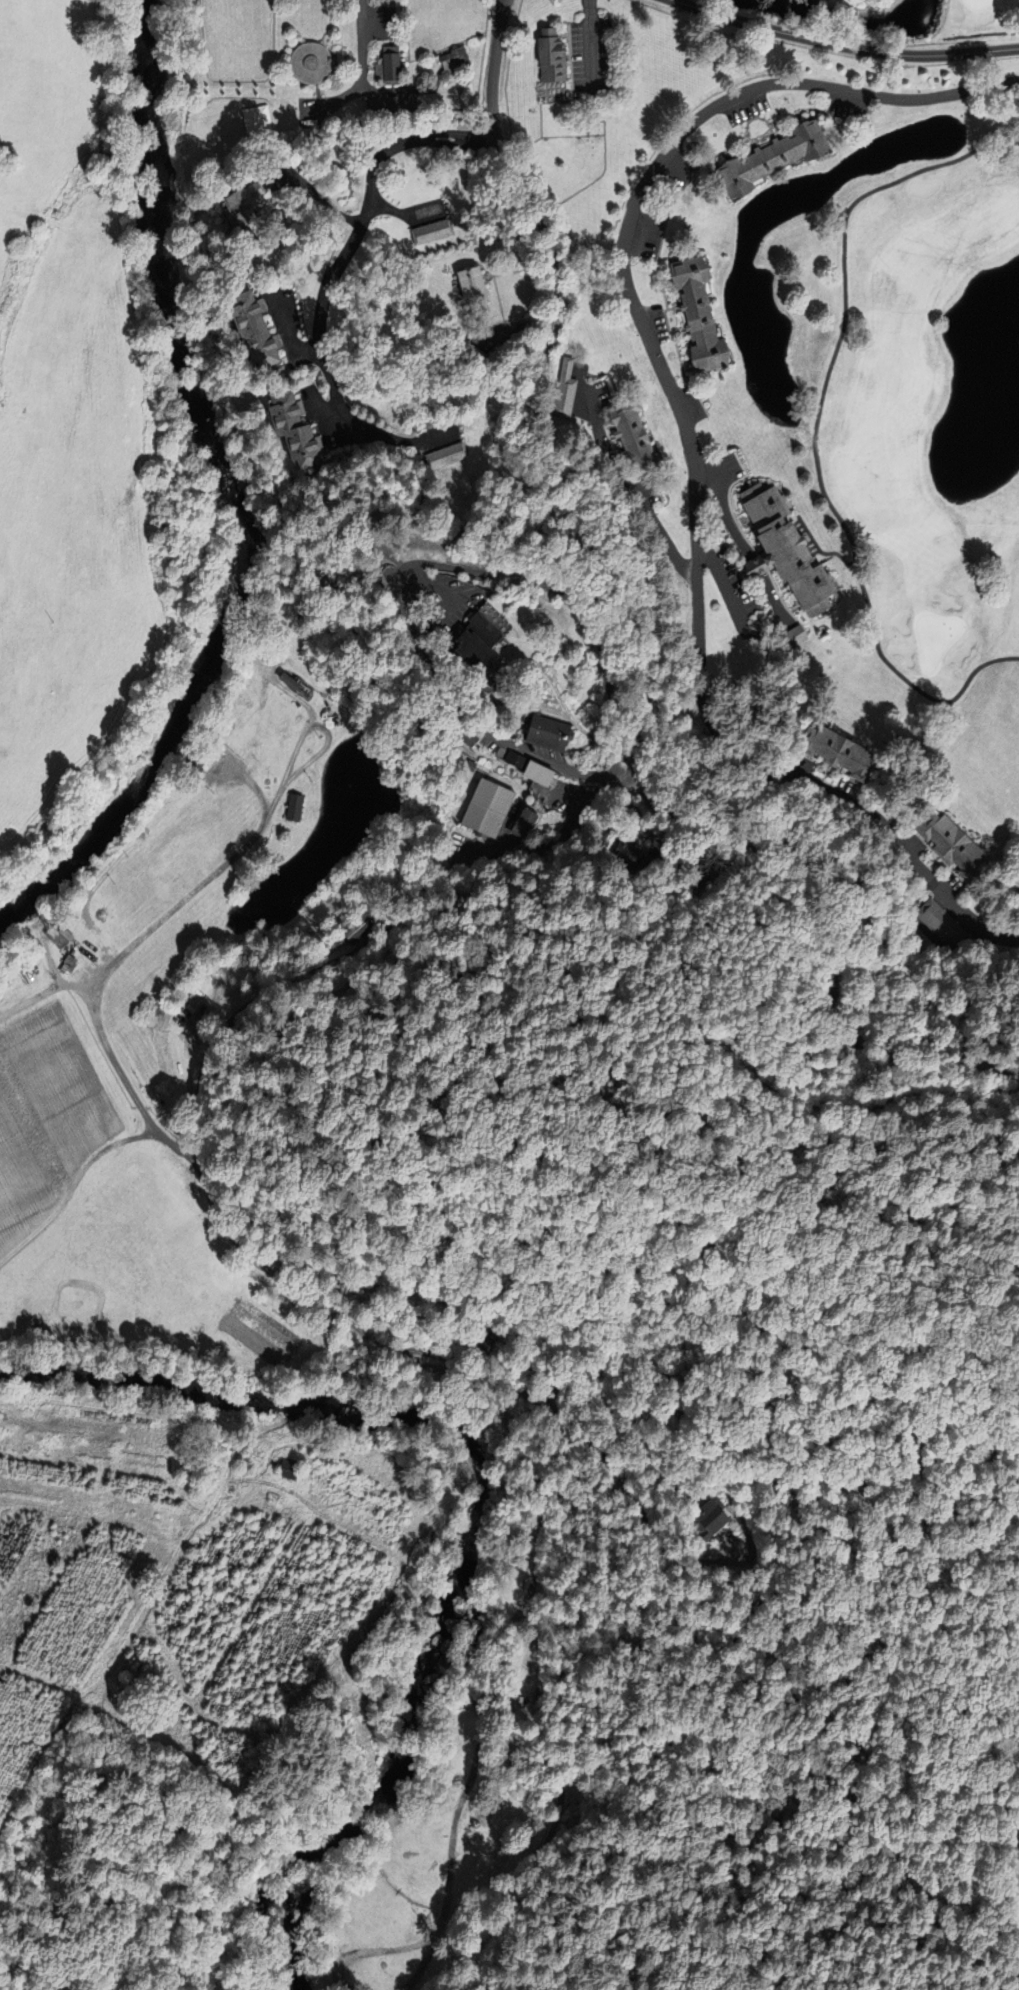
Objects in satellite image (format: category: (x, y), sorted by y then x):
road: (501, 5)
river: (852, 12)
road: (361, 42)
road: (845, 45)
building: (547, 54)
building: (451, 59)
building: (308, 63)
building: (386, 67)
road: (492, 79)
building: (390, 106)
building: (766, 160)
building: (238, 205)
road: (358, 230)
building: (430, 232)
building: (469, 286)
building: (696, 314)
building: (248, 331)
building: (561, 390)
park: (923, 397)
building: (286, 425)
road: (814, 427)
road: (685, 429)
building: (629, 439)
building: (445, 456)
river: (234, 494)
building: (782, 553)
road: (487, 572)
road: (776, 601)
building: (481, 629)
building: (792, 637)
building: (473, 659)
building: (293, 685)
road: (633, 728)
building: (542, 734)
building: (467, 737)
building: (834, 753)
building: (198, 757)
road: (557, 767)
building: (527, 772)
building: (295, 808)
building: (485, 809)
building: (521, 823)
building: (947, 844)
building: (619, 851)
building: (356, 930)
building: (52, 937)
building: (66, 966)
road: (858, 1106)
road: (325, 1303)
building: (477, 1341)
road: (301, 1411)
building: (288, 1470)
building: (707, 1519)
road: (1016, 1846)
road: (1017, 1867)
road: (1015, 1882)

